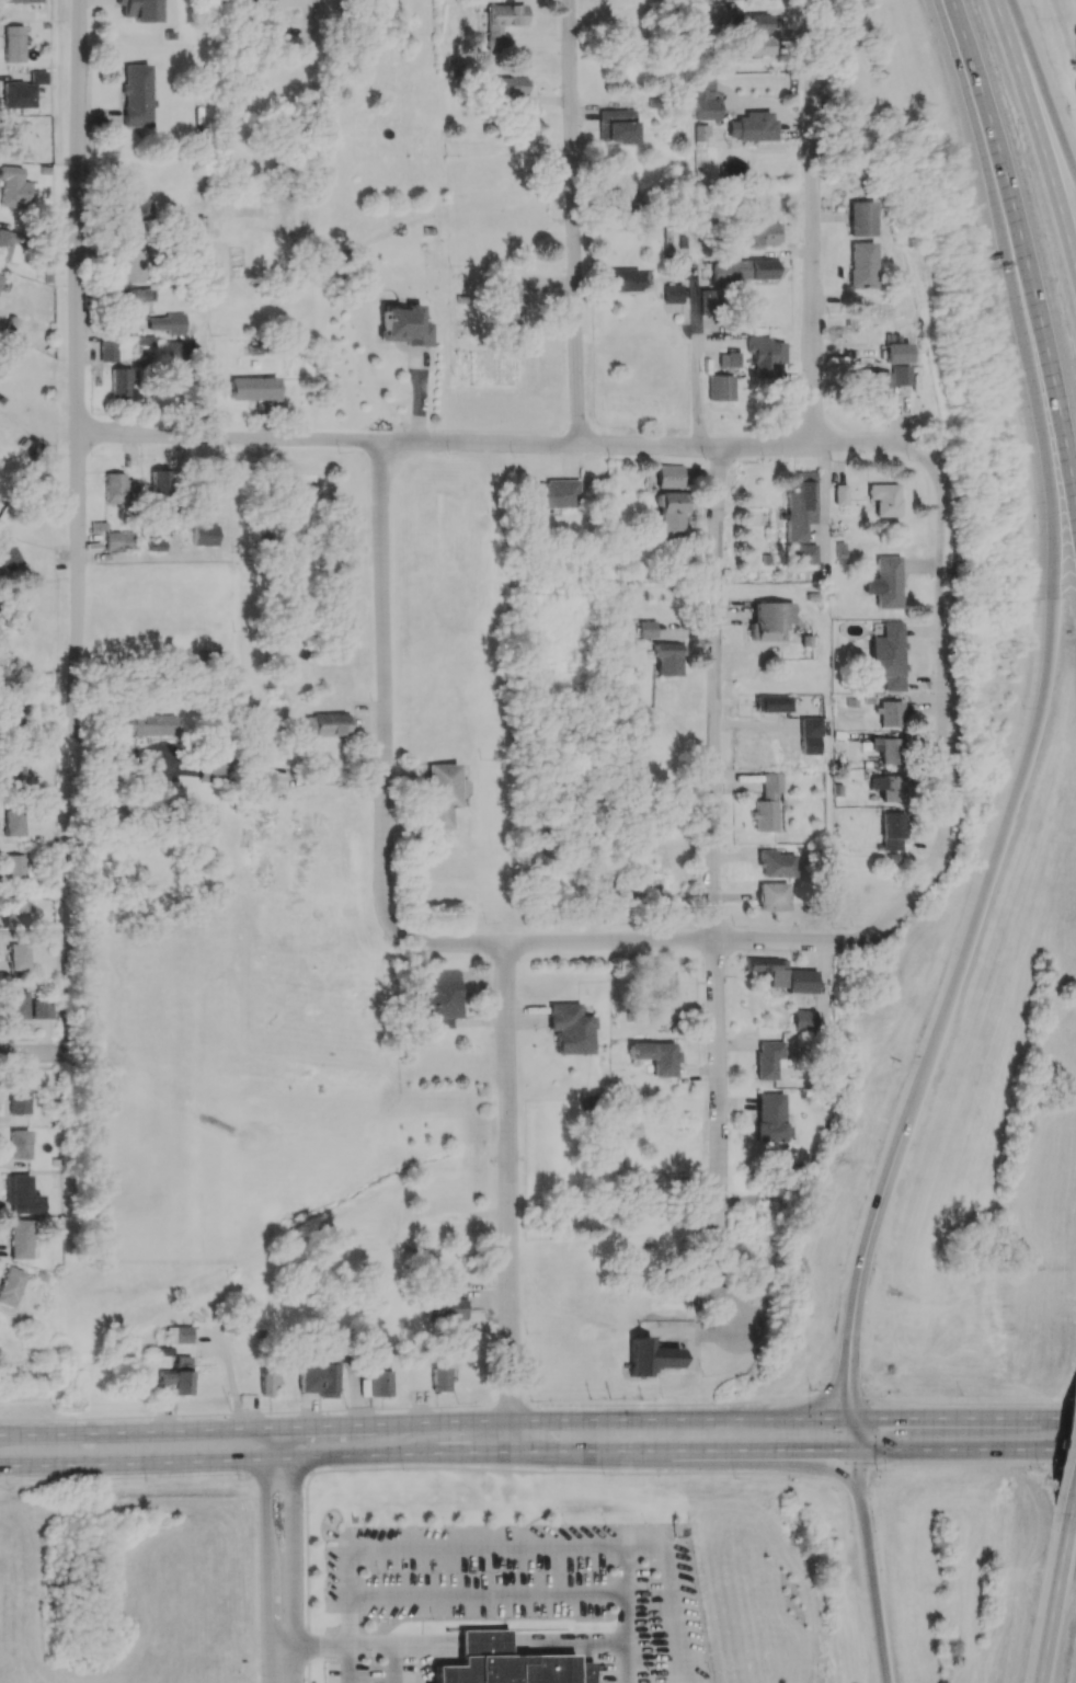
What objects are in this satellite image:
building: (20, 1)
building: (138, 10)
building: (501, 22)
building: (751, 23)
building: (13, 43)
building: (755, 46)
building: (507, 85)
road: (1038, 89)
building: (22, 91)
building: (135, 95)
building: (705, 99)
road: (976, 114)
building: (617, 126)
building: (753, 126)
road: (1037, 129)
building: (11, 137)
building: (13, 187)
building: (618, 199)
building: (133, 213)
building: (861, 218)
road: (577, 222)
road: (694, 224)
road: (815, 224)
building: (765, 233)
building: (7, 243)
building: (129, 262)
building: (861, 264)
building: (683, 266)
building: (745, 270)
building: (0, 277)
building: (625, 279)
building: (672, 293)
building: (708, 301)
building: (134, 302)
building: (511, 302)
building: (169, 323)
building: (404, 325)
building: (108, 348)
building: (175, 351)
building: (765, 356)
road: (80, 364)
building: (881, 380)
road: (1049, 381)
building: (122, 383)
building: (720, 387)
building: (253, 388)
road: (512, 446)
building: (669, 476)
building: (117, 489)
building: (554, 494)
building: (839, 494)
building: (884, 499)
building: (800, 506)
building: (672, 510)
building: (205, 535)
building: (118, 540)
building: (844, 551)
building: (803, 553)
building: (10, 558)
building: (768, 559)
building: (888, 582)
building: (11, 615)
building: (771, 620)
building: (648, 629)
road: (386, 648)
building: (889, 655)
building: (667, 659)
road: (943, 688)
building: (774, 702)
building: (890, 713)
building: (10, 724)
building: (327, 724)
building: (145, 725)
building: (811, 726)
building: (888, 749)
building: (257, 764)
building: (211, 771)
building: (15, 776)
building: (440, 794)
road: (1012, 801)
building: (768, 803)
building: (15, 821)
building: (891, 831)
building: (777, 863)
building: (16, 867)
building: (598, 891)
road: (717, 893)
building: (774, 896)
building: (18, 909)
road: (619, 944)
building: (19, 957)
building: (766, 964)
building: (665, 980)
building: (802, 981)
building: (440, 996)
building: (16, 1004)
building: (43, 1009)
building: (803, 1020)
building: (570, 1029)
road: (31, 1050)
building: (655, 1056)
building: (769, 1058)
building: (18, 1100)
building: (771, 1118)
building: (627, 1127)
building: (21, 1143)
building: (21, 1194)
road: (507, 1199)
building: (19, 1239)
building: (9, 1285)
building: (371, 1292)
building: (449, 1305)
building: (179, 1333)
road: (692, 1333)
building: (650, 1356)
building: (179, 1375)
road: (847, 1377)
building: (319, 1378)
building: (379, 1378)
building: (268, 1379)
building: (440, 1379)
road: (815, 1399)
road: (969, 1402)
road: (385, 1407)
road: (537, 1419)
traffic signals: (851, 1420)
road: (851, 1423)
road: (278, 1442)
traffic signals: (856, 1451)
road: (537, 1452)
road: (857, 1459)
road: (974, 1462)
road: (417, 1468)
road: (852, 1470)
road: (860, 1485)
road: (1074, 1496)
road: (267, 1546)
road: (295, 1547)
road: (489, 1548)
road: (485, 1592)
road: (873, 1592)
road: (622, 1594)
road: (1055, 1596)
road: (586, 1642)
road: (369, 1645)
road: (483, 1645)
road: (439, 1646)
road: (422, 1648)
road: (281, 1661)
building: (507, 1663)

